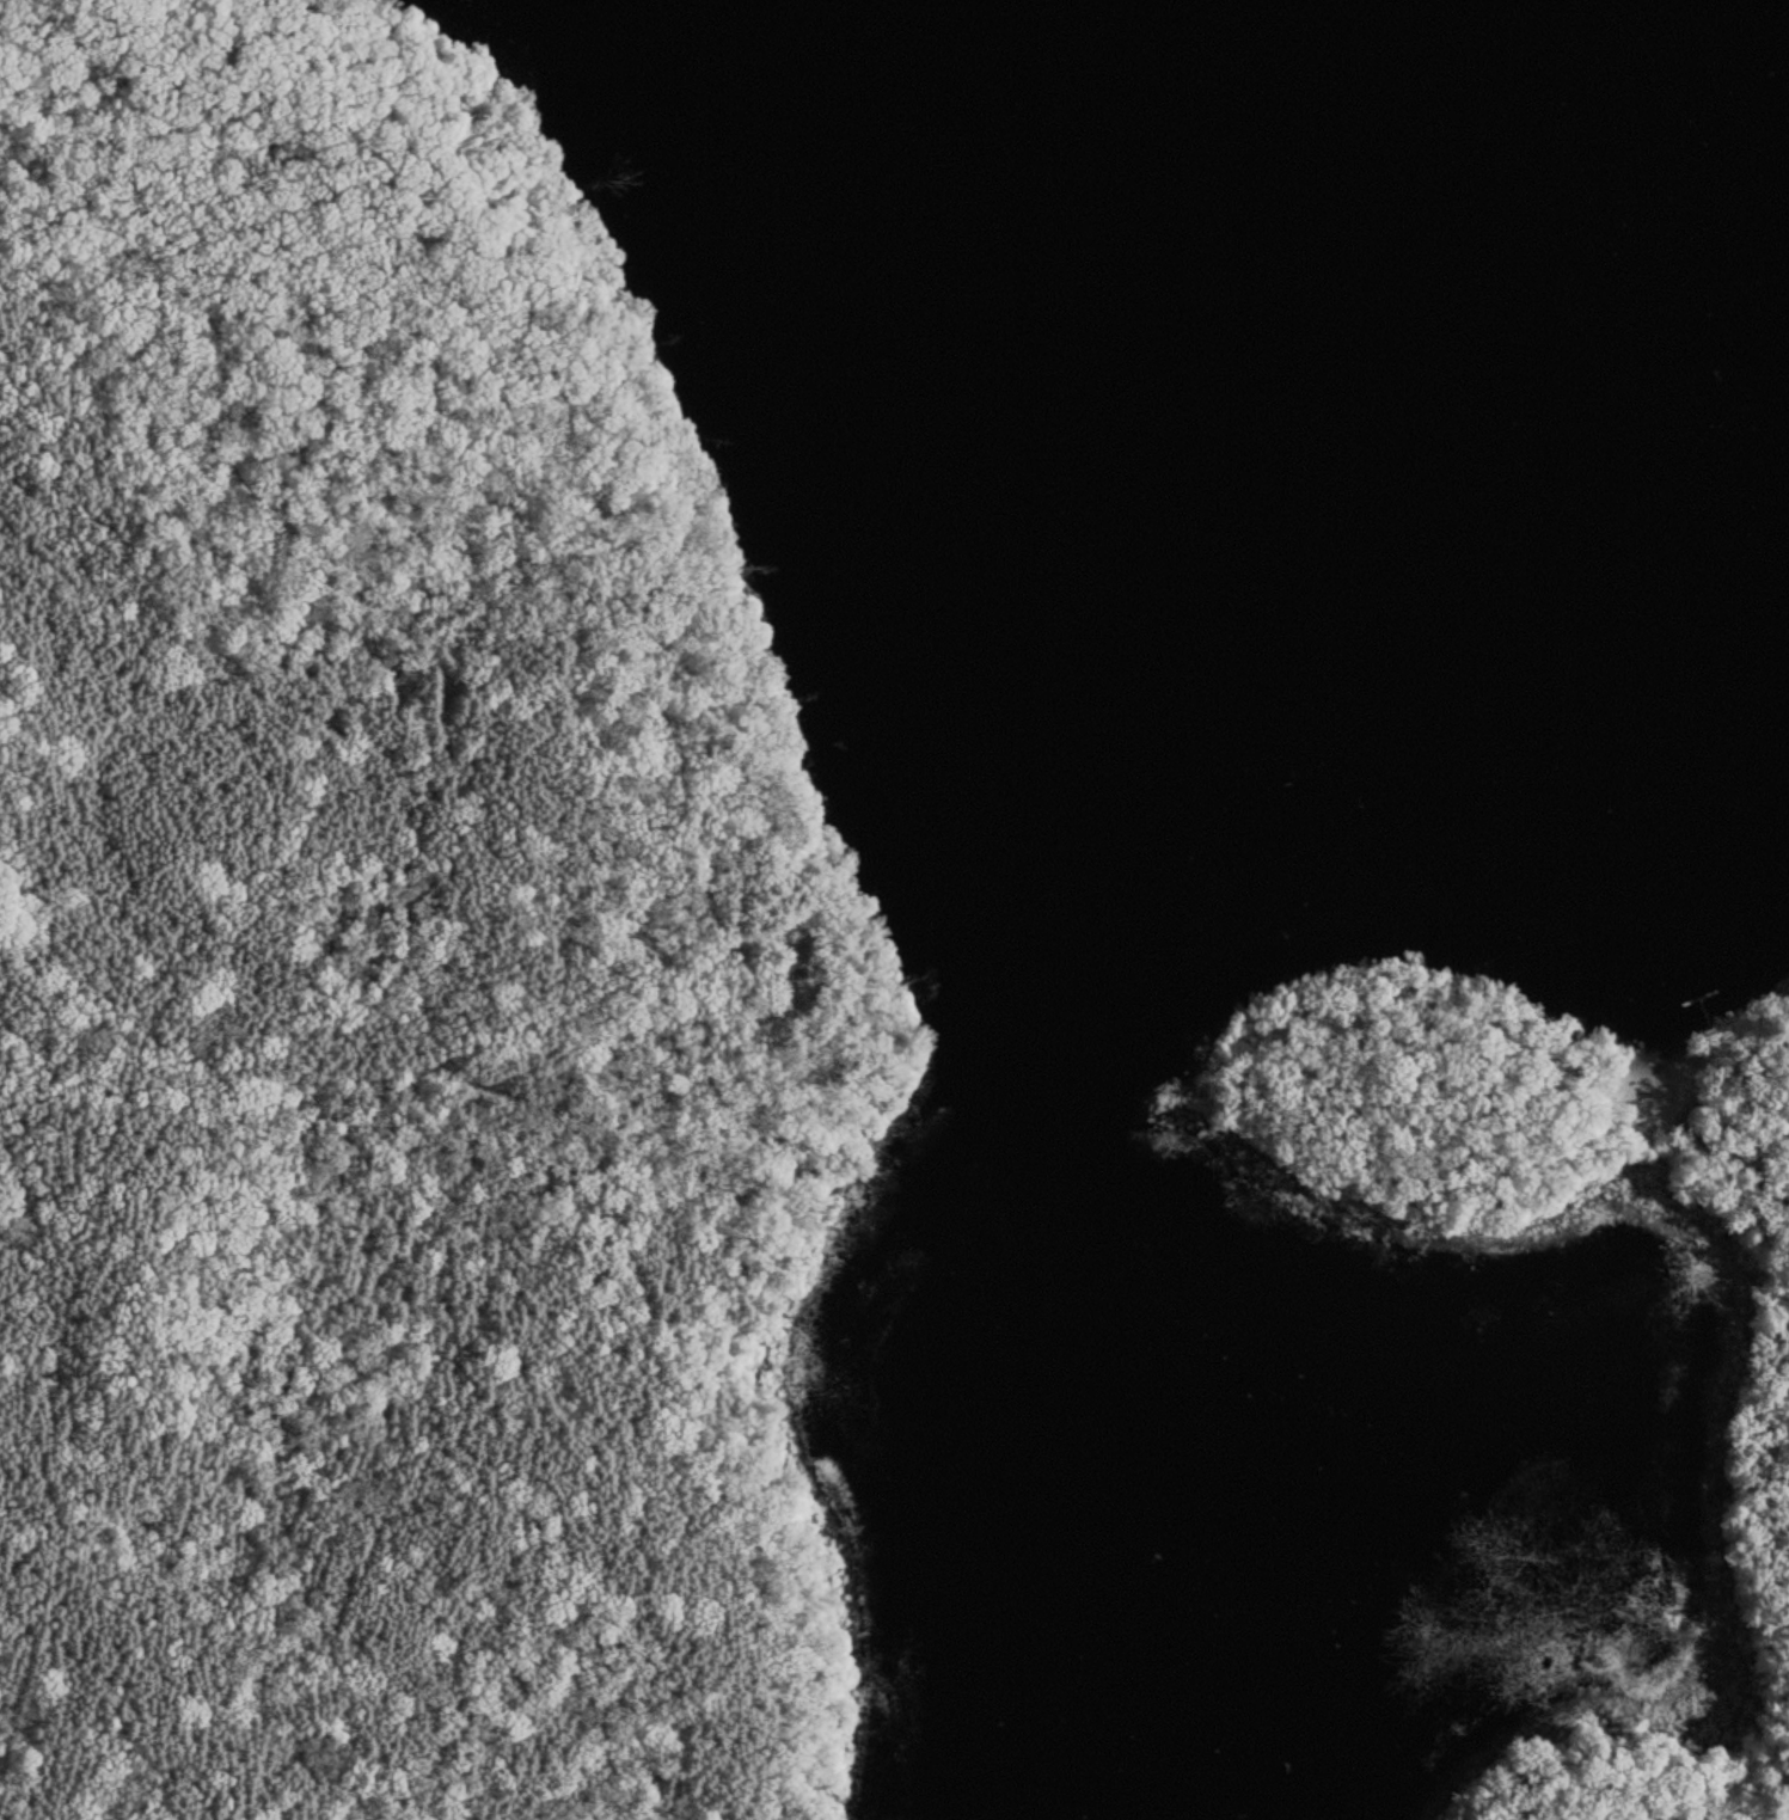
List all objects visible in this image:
road: (557, 872)
road: (1756, 1804)

